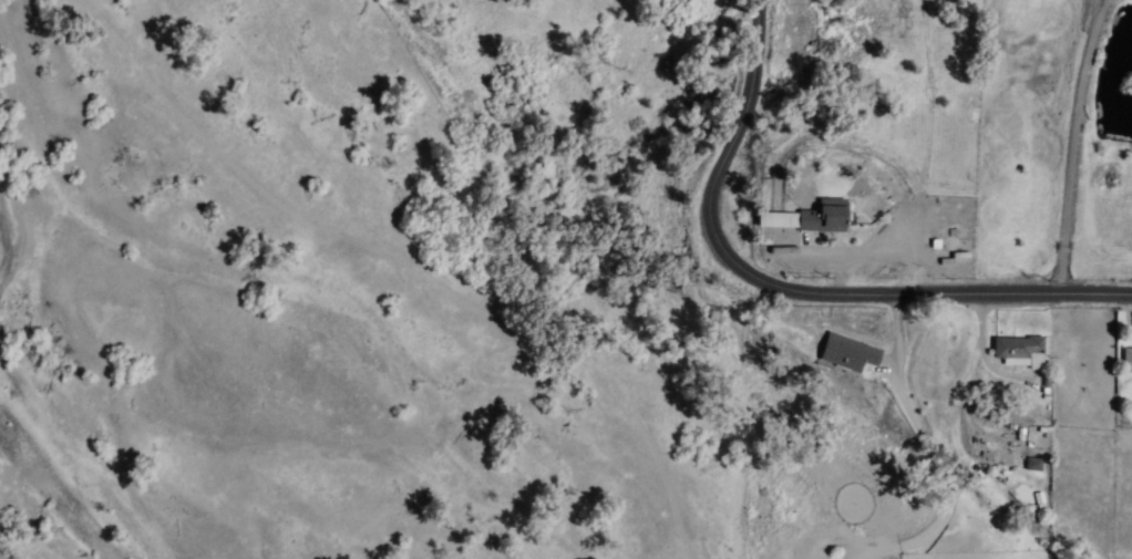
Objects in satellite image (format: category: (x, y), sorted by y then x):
crop: (729, 53)
road: (1073, 145)
building: (825, 217)
river: (4, 225)
road: (797, 291)
building: (1017, 351)
building: (845, 355)
building: (1126, 363)
river: (51, 499)

